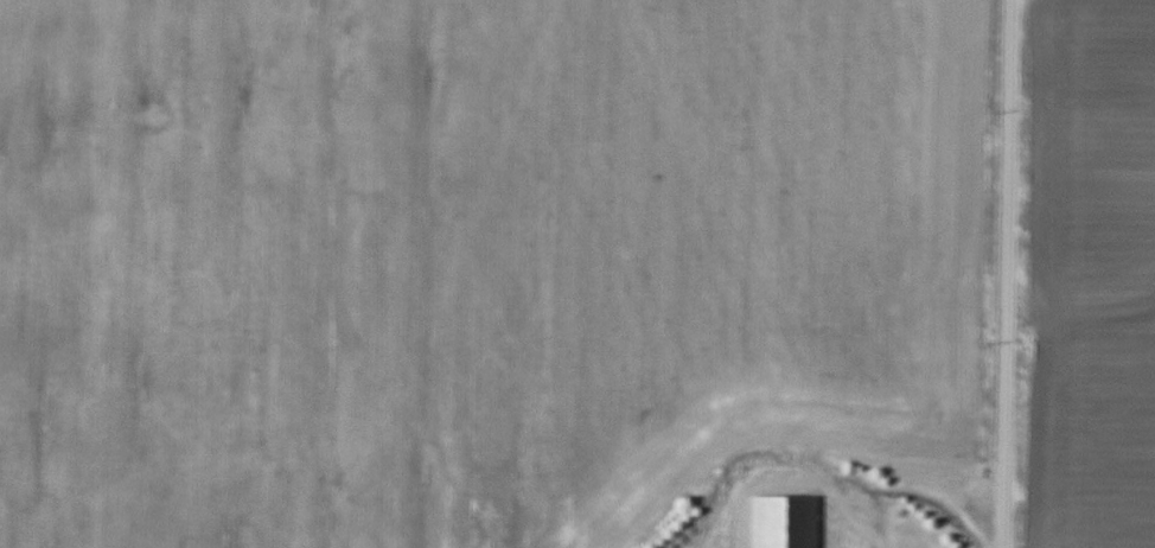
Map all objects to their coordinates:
road: (1002, 273)

